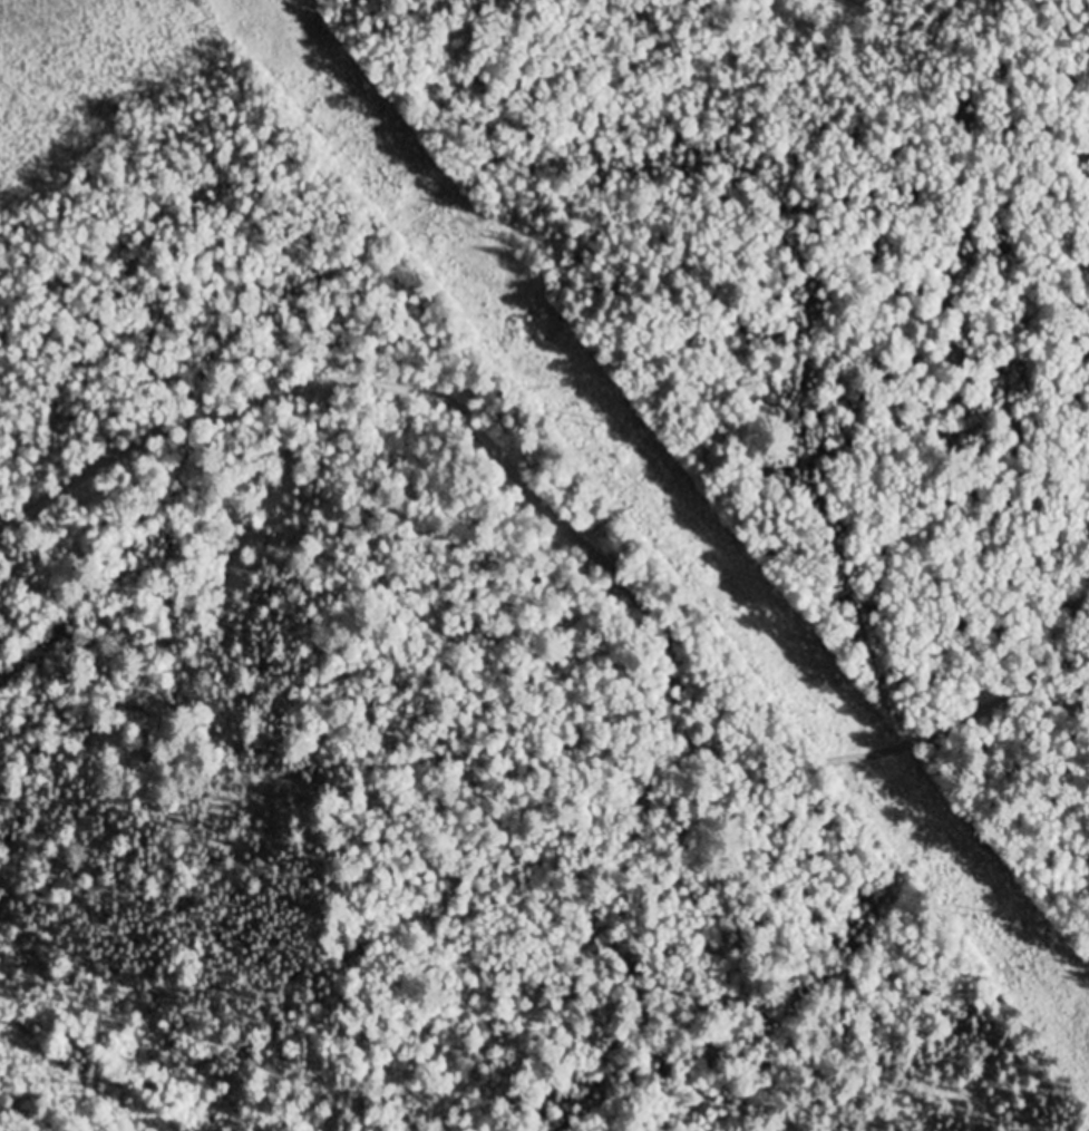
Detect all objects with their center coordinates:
power tower: (609, 427)
road: (591, 548)
power tower: (1015, 924)

